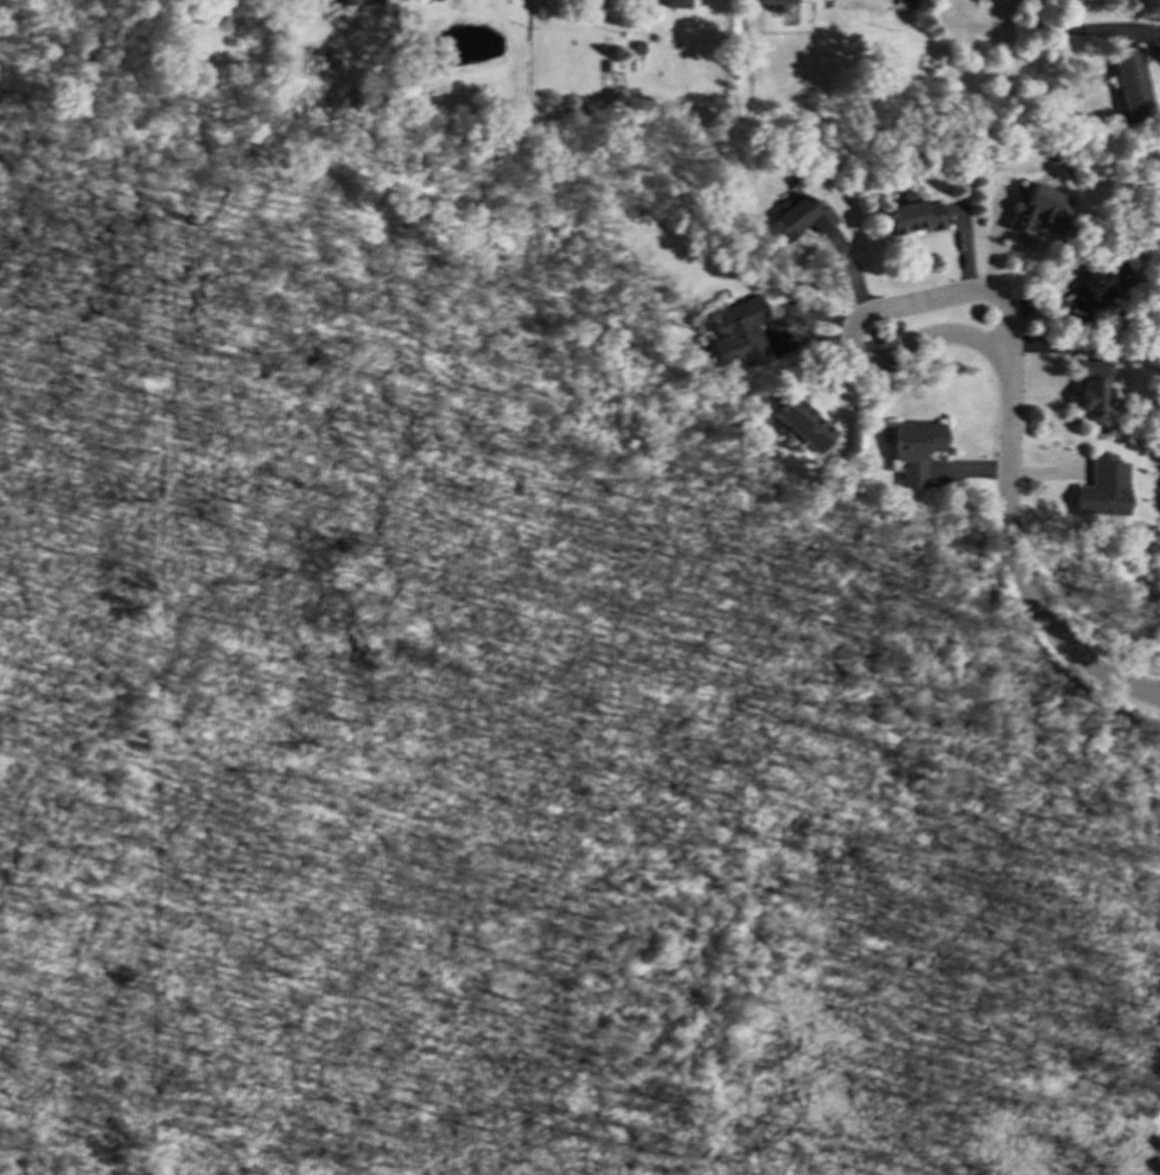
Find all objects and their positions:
building: (350, 1)
building: (905, 1)
building: (675, 4)
building: (775, 4)
road: (1073, 28)
building: (1133, 83)
building: (1039, 209)
building: (913, 215)
building: (802, 217)
building: (1095, 287)
road: (888, 311)
building: (737, 333)
building: (1092, 385)
building: (799, 422)
building: (914, 449)
building: (1102, 487)
road: (1018, 562)

